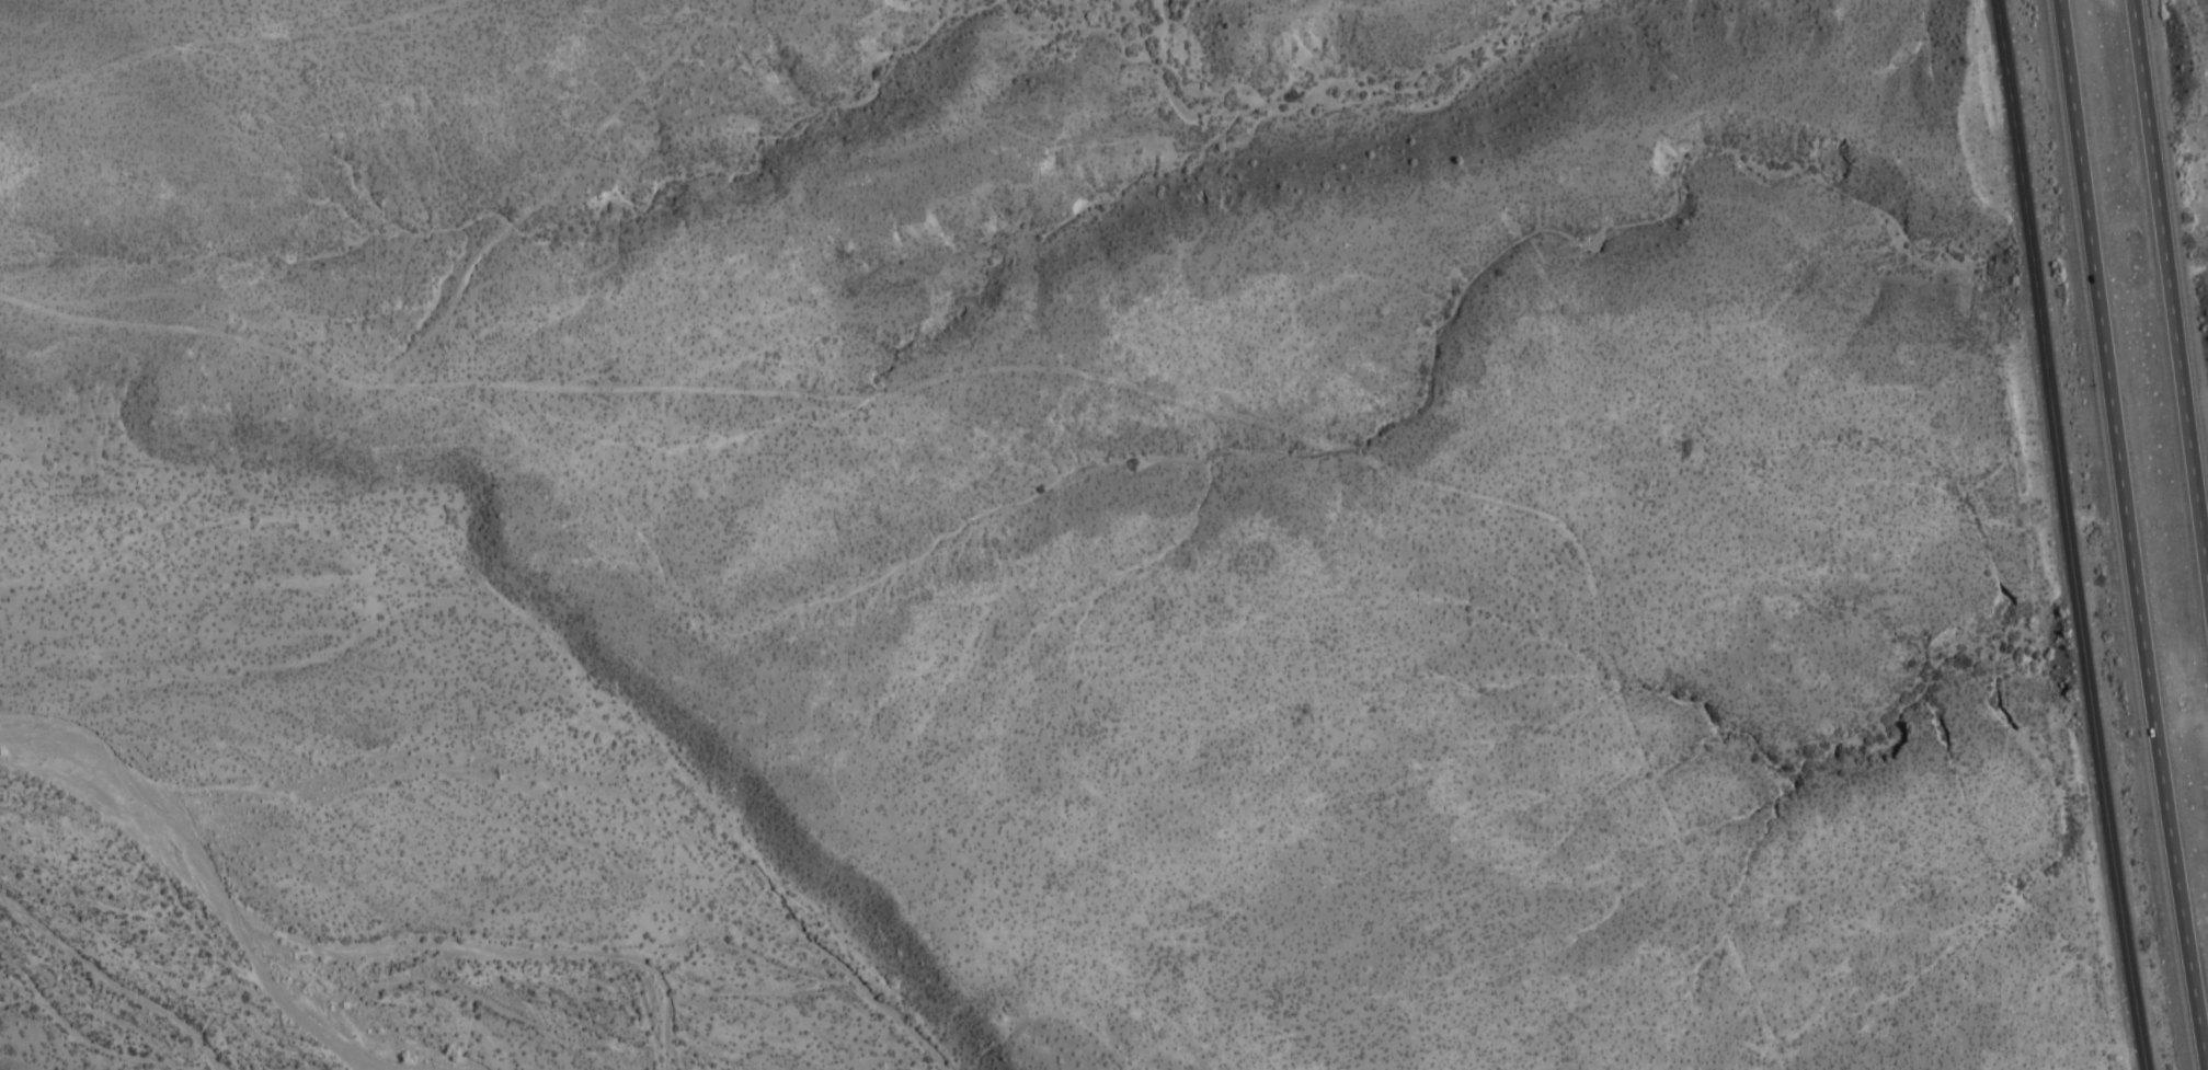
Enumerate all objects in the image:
road: (2170, 309)
road: (2070, 534)
road: (2125, 536)

